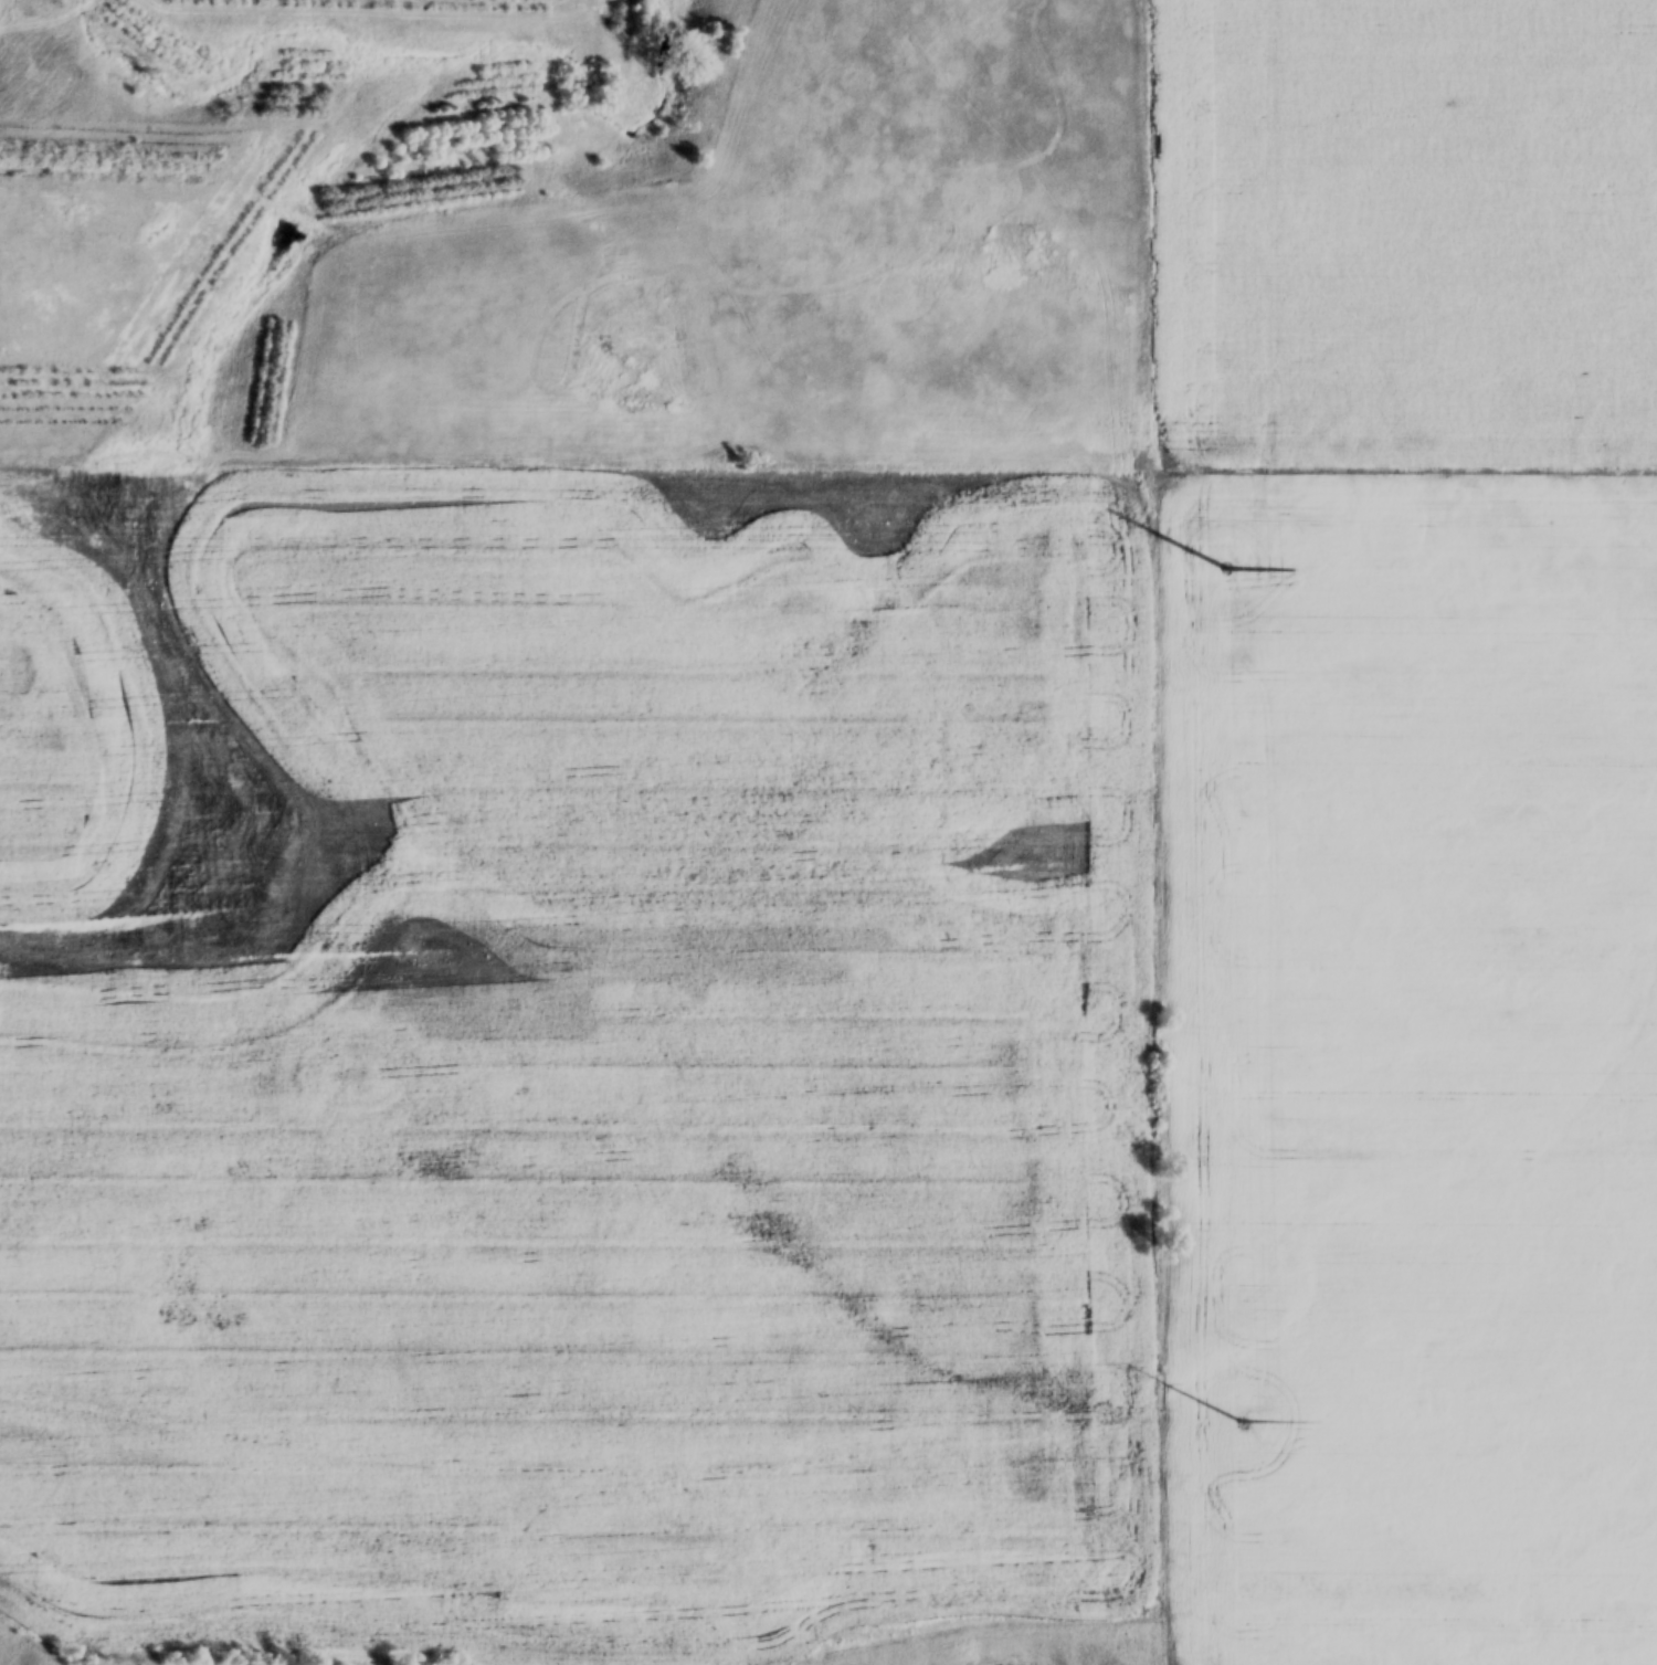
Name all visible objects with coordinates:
power tower: (1226, 565)
power tower: (1241, 1416)

